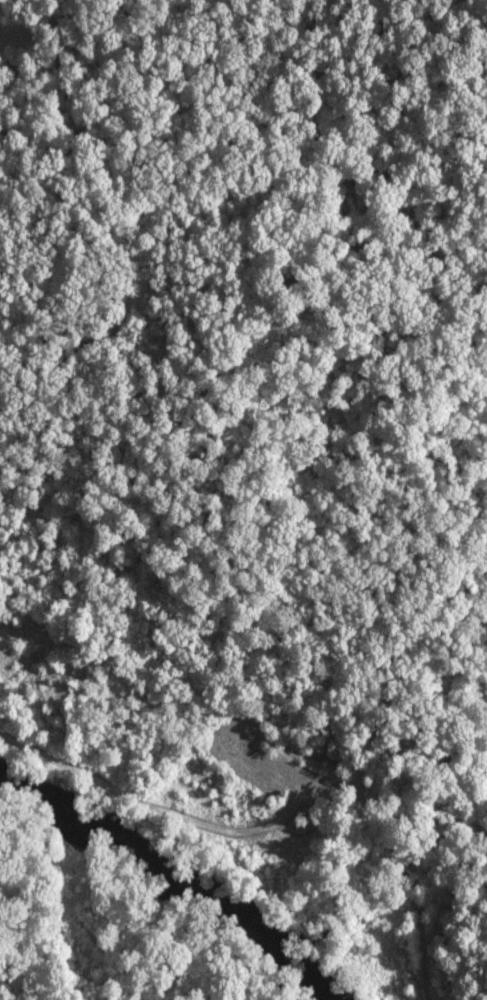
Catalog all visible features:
road: (185, 806)

